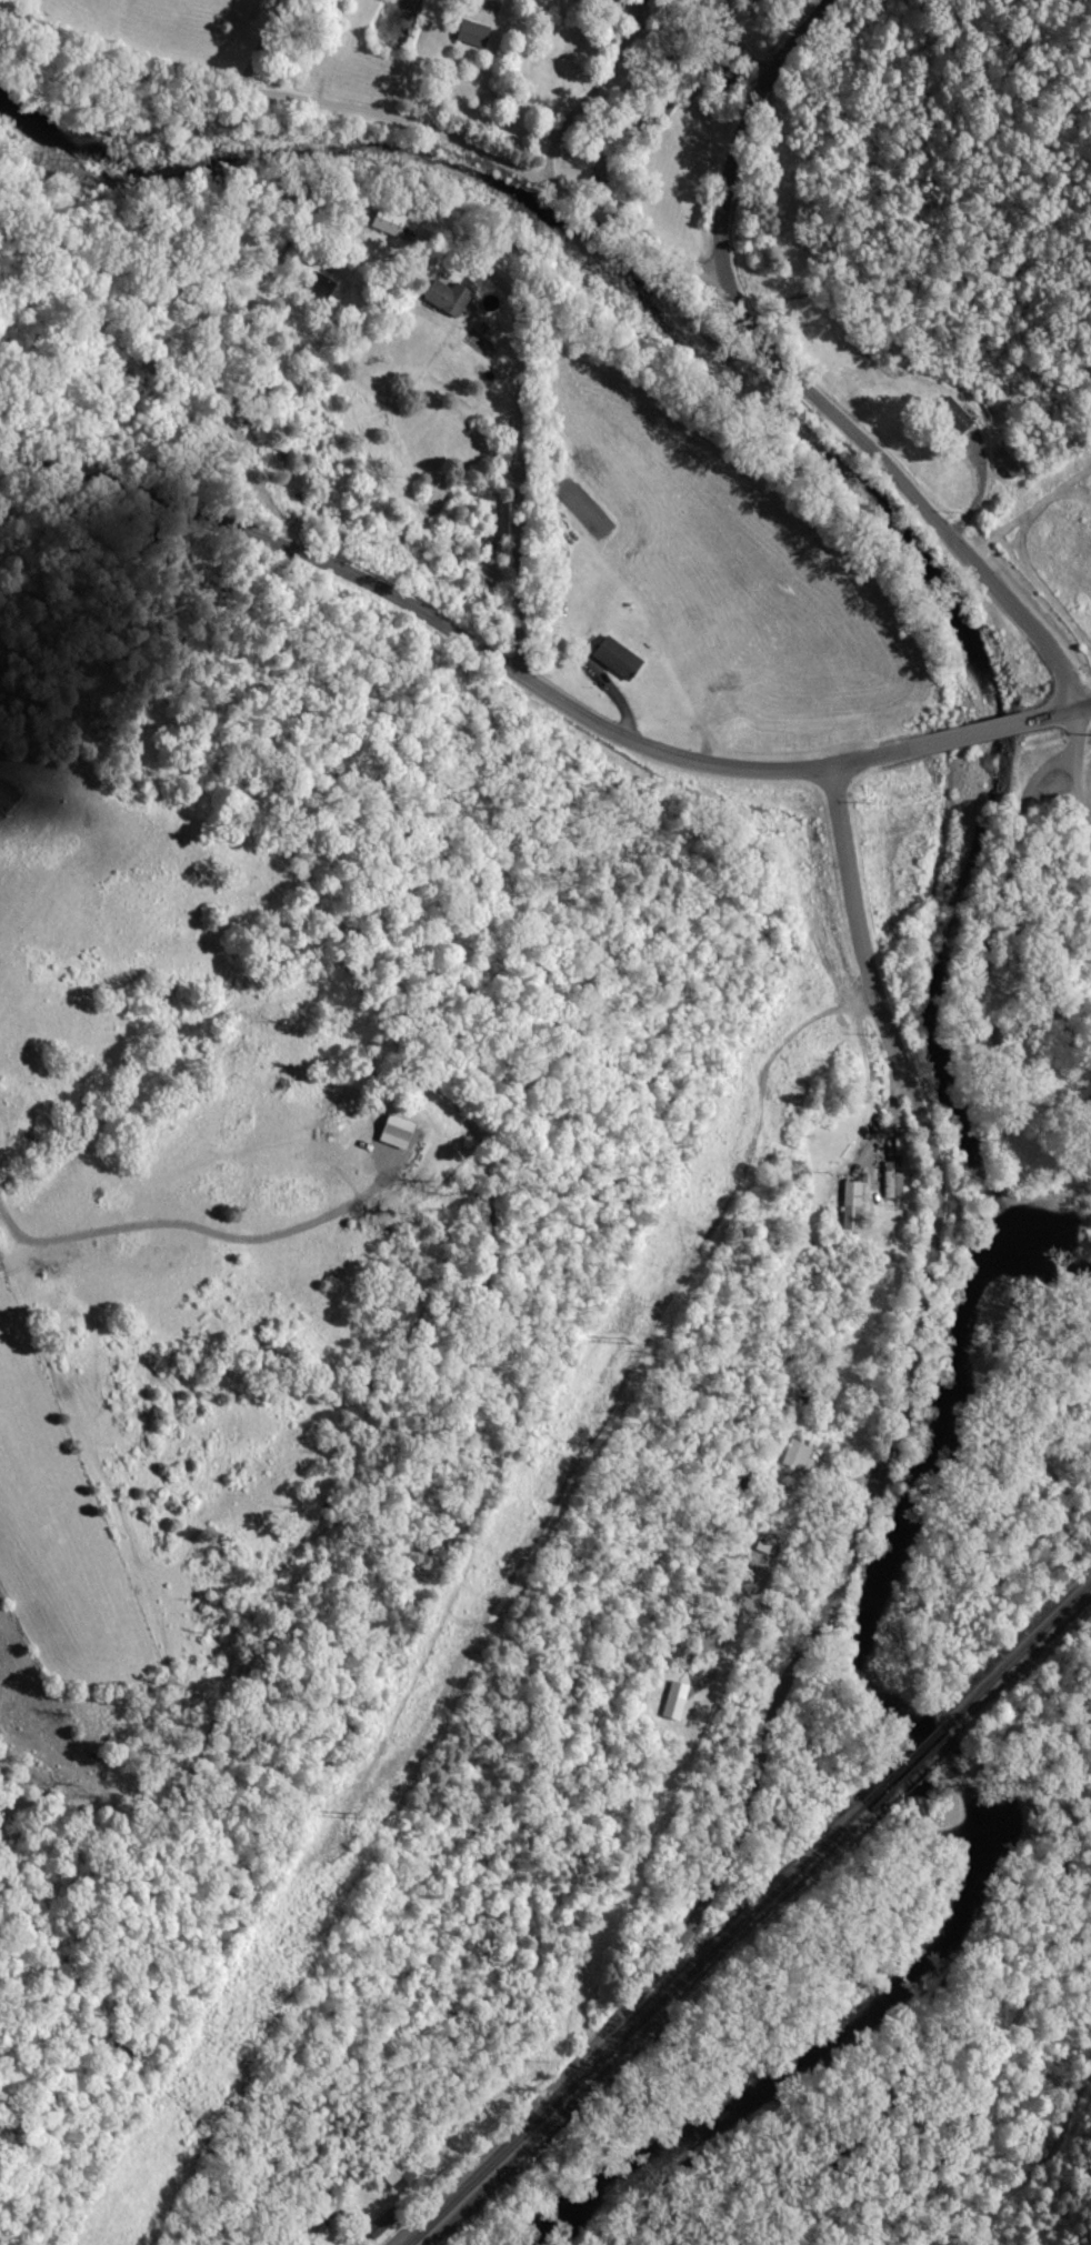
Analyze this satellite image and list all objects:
building: (472, 32)
road: (549, 108)
road: (346, 153)
building: (319, 285)
building: (444, 297)
road: (753, 352)
building: (951, 414)
road: (978, 489)
building: (611, 655)
road: (533, 679)
building: (889, 1181)
building: (850, 1204)
building: (795, 1452)
road: (838, 1574)
building: (672, 1700)
railway: (750, 1916)
building: (396, 2172)

